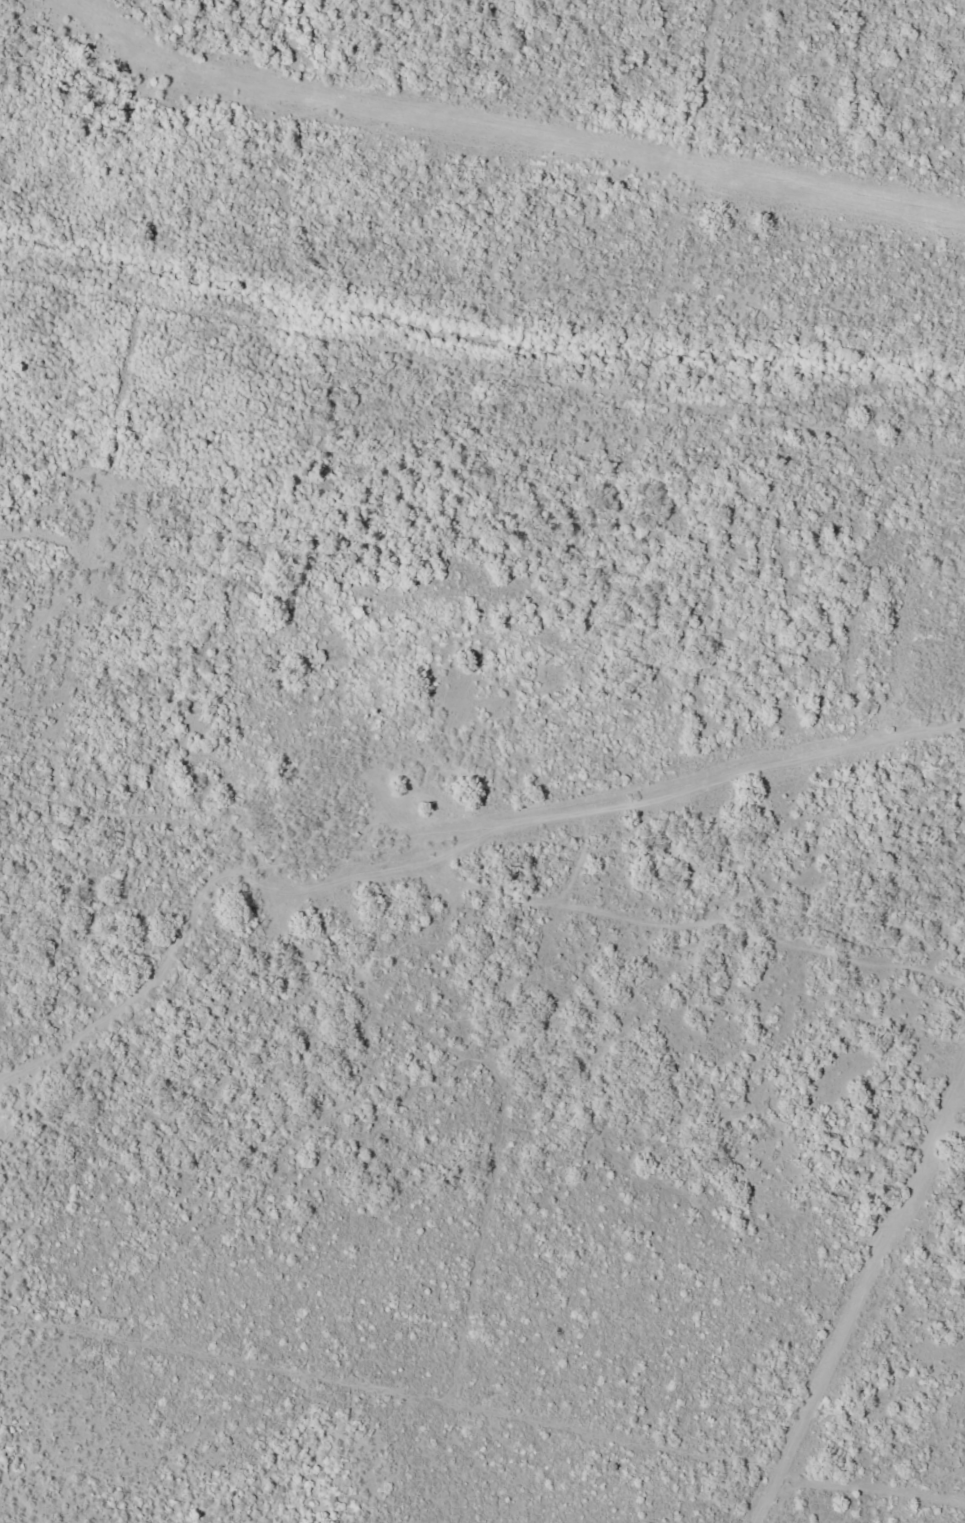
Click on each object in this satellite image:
road: (874, 1319)

